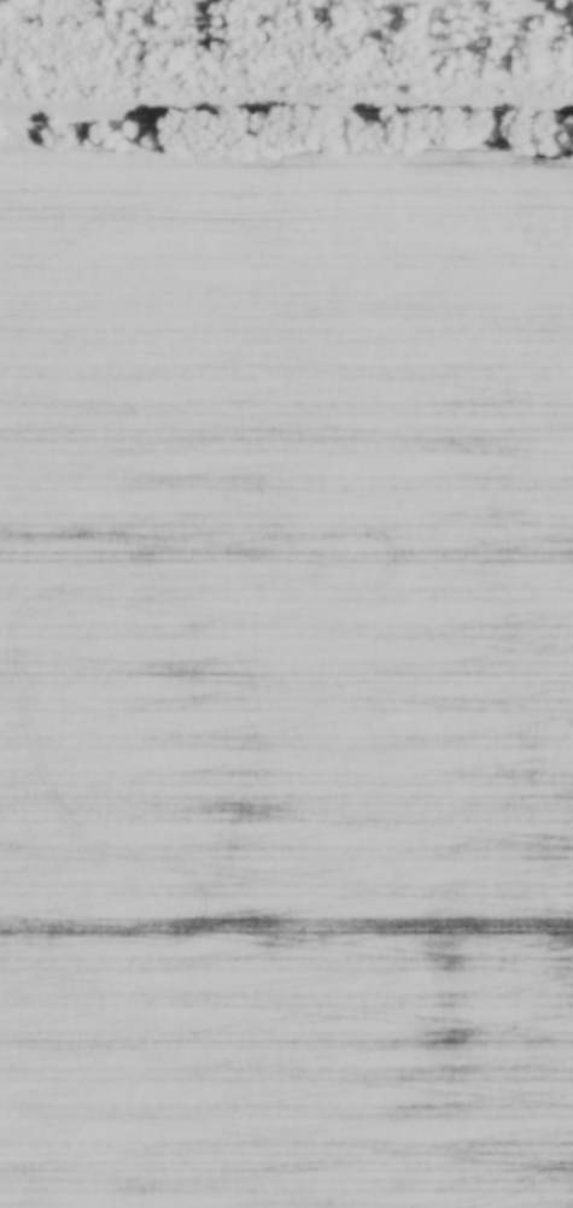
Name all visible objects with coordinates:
road: (163, 69)

